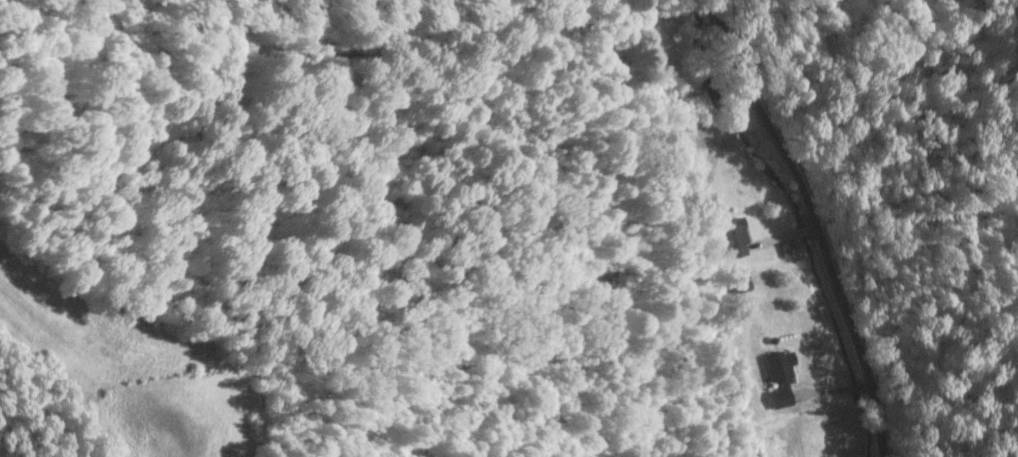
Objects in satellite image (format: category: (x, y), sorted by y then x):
building: (614, 64)
building: (668, 71)
road: (811, 223)
building: (732, 238)
building: (741, 284)
building: (781, 380)

